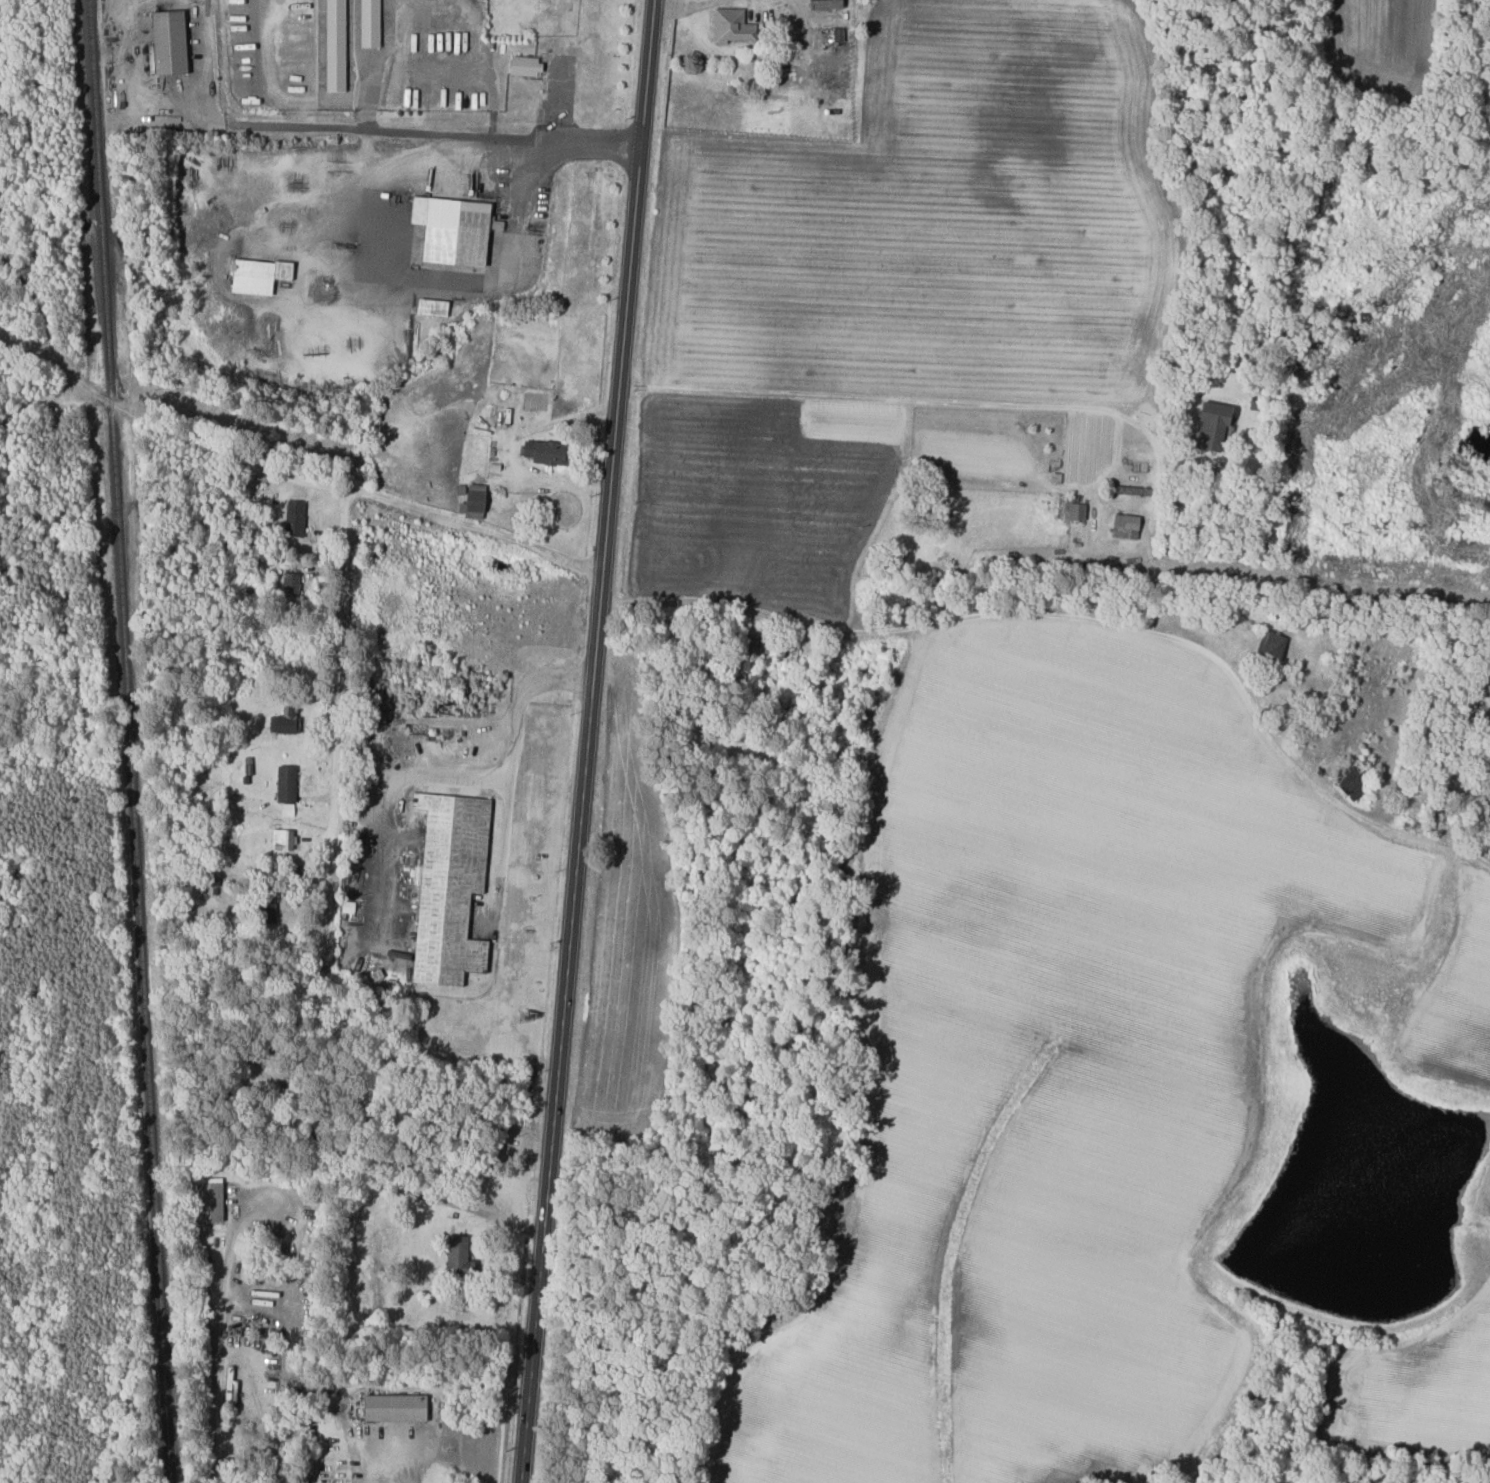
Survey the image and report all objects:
road: (682, 4)
building: (825, 4)
building: (370, 23)
building: (732, 25)
building: (335, 45)
building: (524, 66)
road: (407, 132)
building: (452, 228)
building: (258, 274)
building: (431, 306)
road: (899, 395)
road: (140, 416)
building: (1212, 425)
building: (546, 451)
building: (1134, 489)
building: (472, 500)
building: (1074, 510)
building: (294, 517)
building: (1125, 525)
road: (342, 578)
road: (1087, 620)
building: (751, 641)
building: (1272, 644)
building: (283, 719)
railway: (130, 741)
road: (587, 741)
road: (463, 776)
building: (1352, 781)
building: (286, 788)
building: (282, 838)
road: (502, 843)
building: (449, 886)
building: (210, 1201)
road: (492, 1216)
building: (457, 1255)
road: (228, 1331)
building: (394, 1407)
road: (385, 1469)

